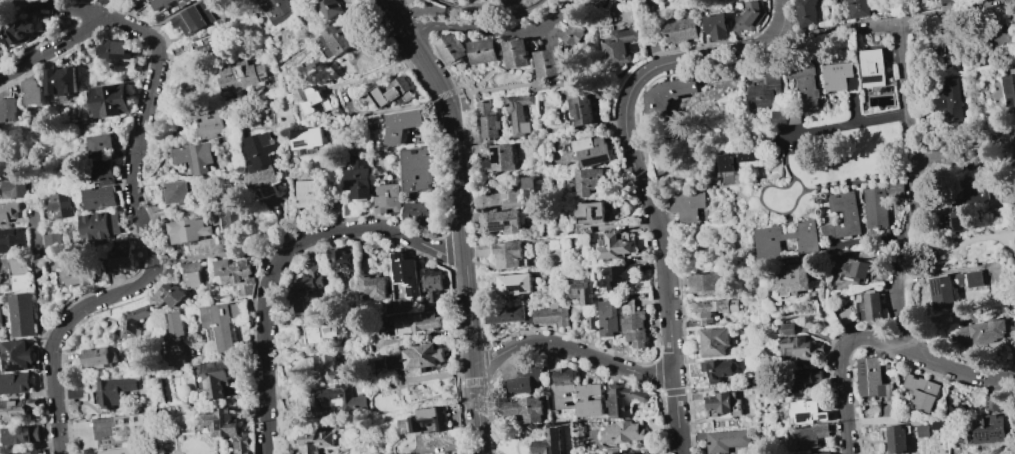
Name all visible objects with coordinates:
building: (219, 1)
building: (950, 1)
building: (161, 3)
road: (418, 5)
road: (53, 7)
building: (330, 8)
road: (477, 8)
building: (859, 8)
building: (276, 9)
road: (420, 11)
building: (806, 12)
road: (39, 16)
building: (749, 16)
building: (192, 18)
road: (782, 20)
building: (717, 26)
road: (894, 26)
road: (494, 29)
building: (680, 30)
road: (948, 31)
building: (21, 32)
building: (571, 32)
building: (1005, 35)
building: (337, 40)
building: (209, 44)
building: (621, 45)
road: (53, 47)
building: (452, 49)
building: (112, 50)
building: (484, 51)
building: (516, 55)
road: (705, 56)
building: (548, 63)
building: (872, 67)
road: (377, 74)
building: (241, 76)
building: (838, 77)
rooftop solar panel: (872, 77)
building: (59, 81)
building: (803, 82)
road: (535, 83)
building: (766, 91)
building: (391, 92)
road: (467, 92)
building: (33, 93)
road: (445, 94)
building: (1010, 96)
building: (667, 97)
building: (311, 99)
building: (110, 100)
building: (946, 101)
building: (323, 106)
road: (397, 108)
rooftop solar panel: (581, 108)
building: (8, 109)
building: (581, 110)
building: (518, 112)
road: (894, 116)
building: (488, 118)
building: (778, 118)
building: (211, 124)
building: (403, 124)
road: (611, 126)
road: (830, 127)
building: (309, 138)
building: (102, 145)
building: (593, 149)
building: (259, 151)
building: (668, 154)
rooftop solar panel: (599, 156)
building: (195, 157)
building: (499, 158)
road: (789, 160)
road: (441, 164)
building: (734, 165)
building: (421, 168)
building: (104, 171)
park: (828, 174)
building: (358, 179)
building: (263, 181)
building: (590, 181)
road: (861, 182)
building: (13, 185)
rooftop solar panel: (352, 186)
building: (895, 188)
building: (531, 189)
road: (914, 189)
building: (176, 192)
building: (304, 196)
building: (99, 197)
building: (386, 197)
building: (966, 197)
building: (61, 204)
building: (686, 205)
building: (875, 207)
road: (772, 209)
building: (7, 210)
building: (418, 212)
building: (592, 212)
road: (667, 215)
building: (842, 215)
rooftop solar panel: (589, 216)
road: (461, 217)
rooftop solar panel: (601, 217)
building: (504, 221)
rooftop solar panel: (958, 223)
rooftop solar panel: (500, 224)
building: (232, 225)
building: (100, 226)
building: (189, 230)
road: (367, 237)
building: (1014, 237)
building: (11, 240)
building: (51, 240)
road: (877, 240)
road: (150, 244)
building: (768, 245)
road: (957, 246)
building: (614, 247)
road: (448, 248)
building: (501, 252)
building: (122, 256)
road: (214, 256)
building: (342, 258)
road: (281, 260)
road: (666, 262)
building: (854, 268)
building: (18, 273)
building: (406, 273)
building: (192, 274)
road: (40, 275)
building: (238, 275)
building: (76, 276)
building: (614, 277)
building: (790, 279)
building: (432, 283)
building: (513, 283)
building: (703, 283)
building: (372, 286)
building: (952, 287)
building: (303, 289)
building: (580, 290)
building: (168, 296)
building: (400, 305)
building: (715, 308)
building: (874, 309)
building: (22, 314)
building: (505, 314)
building: (550, 315)
building: (845, 316)
building: (607, 317)
building: (134, 320)
building: (224, 322)
building: (590, 322)
building: (0, 323)
building: (632, 323)
building: (414, 324)
building: (985, 331)
building: (318, 333)
building: (212, 335)
building: (176, 338)
road: (879, 340)
building: (714, 341)
building: (793, 344)
road: (574, 349)
building: (18, 355)
building: (423, 356)
road: (621, 356)
building: (98, 357)
road: (565, 357)
building: (391, 360)
rooftop solar panel: (9, 361)
road: (486, 363)
building: (322, 365)
rooftop solar panel: (18, 366)
rooftop solar panel: (862, 366)
building: (716, 370)
road: (789, 371)
road: (657, 376)
building: (217, 377)
building: (562, 377)
building: (871, 378)
road: (764, 380)
building: (802, 380)
road: (473, 382)
building: (15, 383)
building: (515, 385)
road: (734, 389)
building: (74, 390)
building: (114, 391)
road: (672, 392)
building: (922, 394)
building: (338, 397)
building: (624, 399)
building: (589, 400)
building: (723, 403)
building: (993, 403)
building: (18, 408)
building: (522, 408)
building: (801, 411)
building: (955, 412)
building: (424, 421)
building: (219, 422)
building: (936, 424)
building: (119, 426)
building: (989, 429)
building: (922, 430)
building: (622, 432)
rooftop solar panel: (991, 434)
building: (22, 435)
building: (806, 436)
building: (896, 438)
building: (727, 439)
building: (315, 441)
building: (242, 443)
building: (548, 443)
building: (115, 451)
building: (28, 452)
building: (452, 453)
building: (822, 453)

